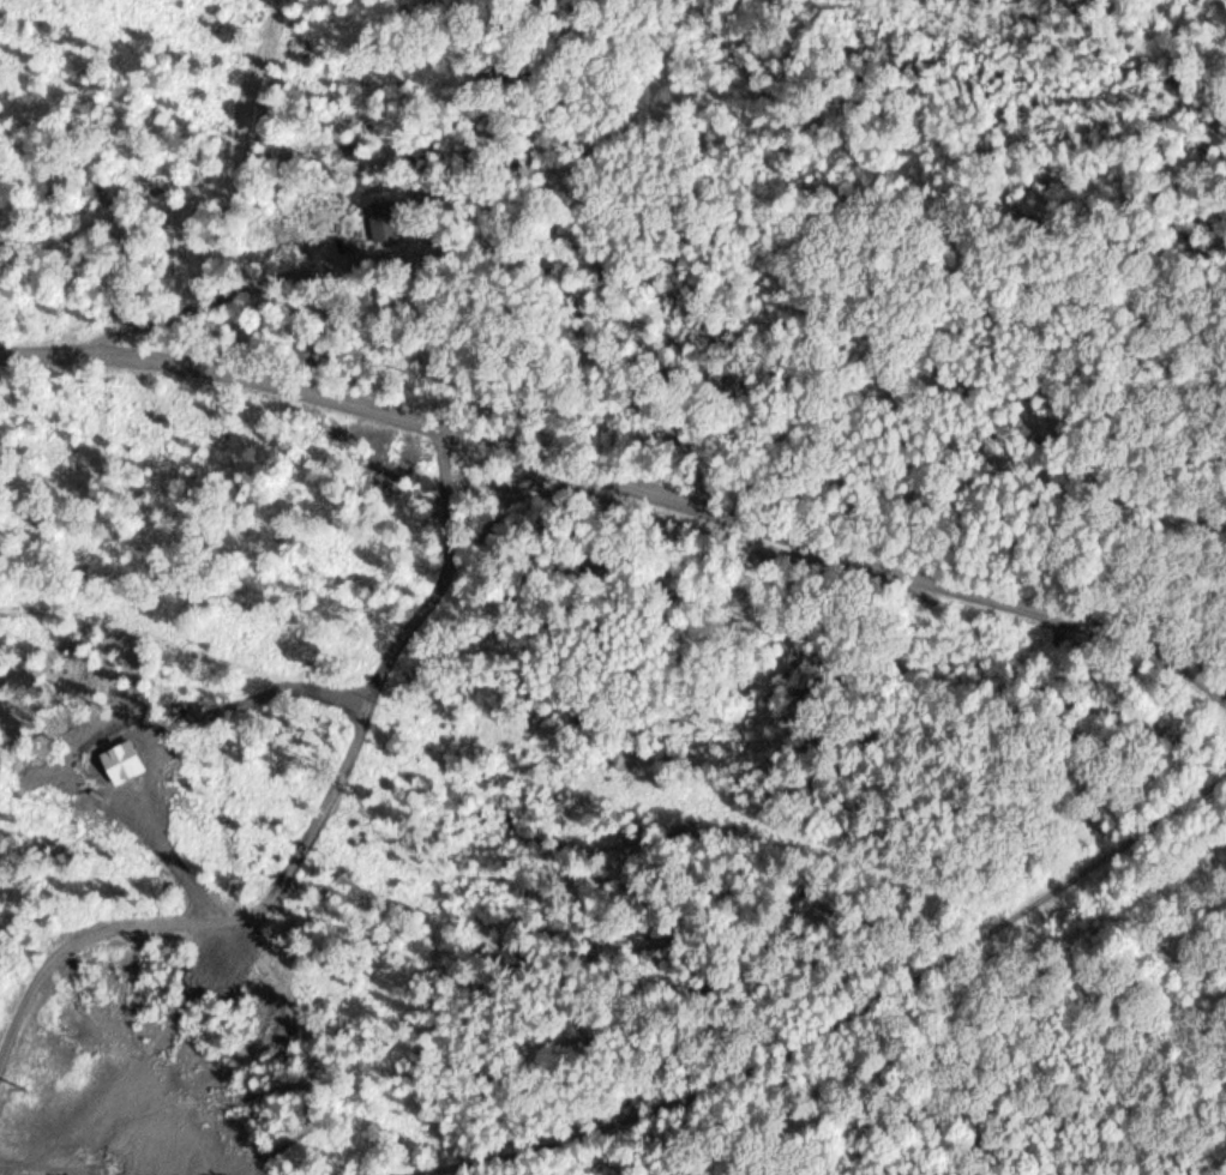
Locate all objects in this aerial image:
building: (384, 218)
road: (625, 482)
power tower: (19, 1074)

